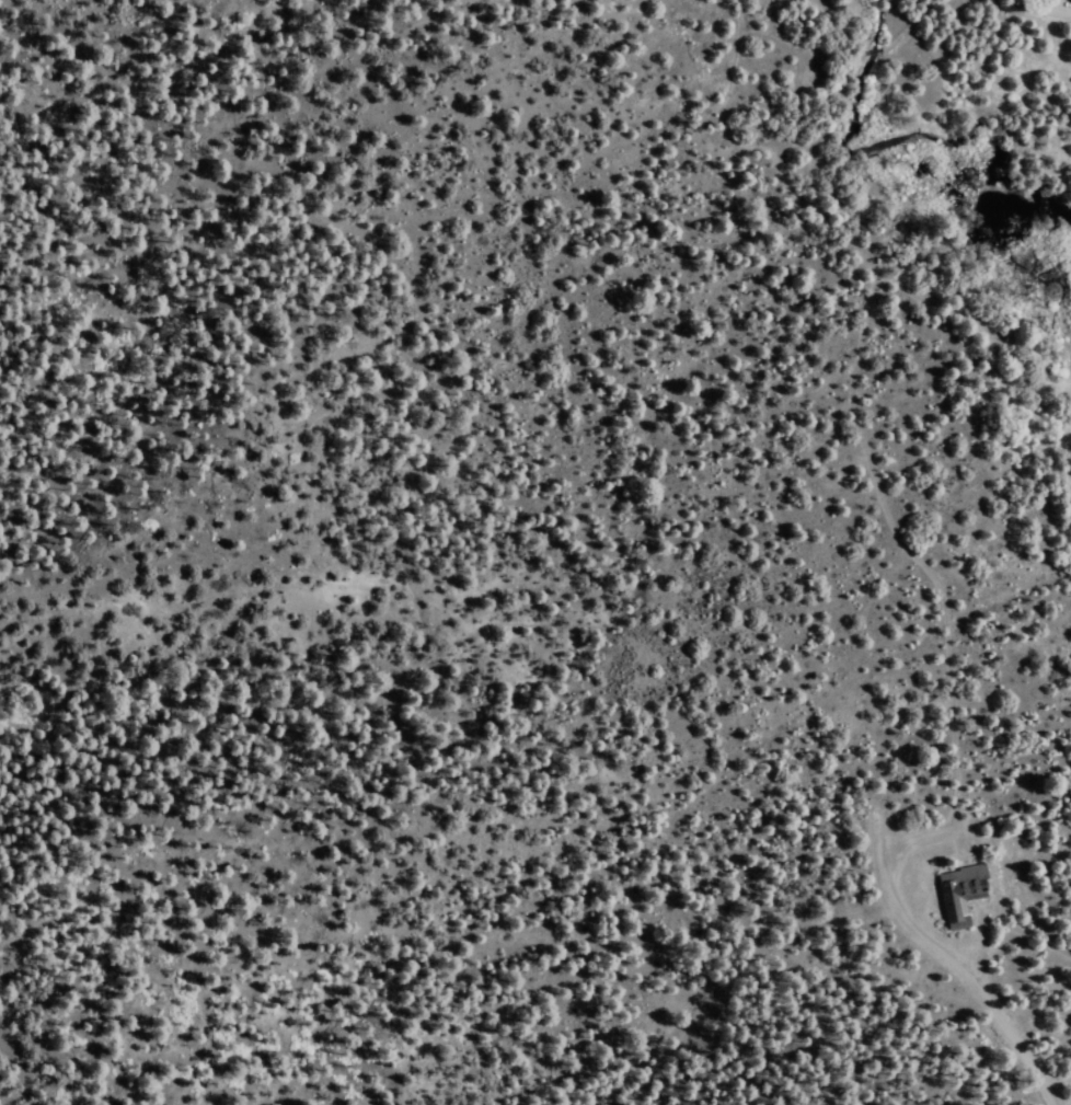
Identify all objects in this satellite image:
road: (1043, 13)
road: (912, 28)
road: (871, 56)
road: (855, 59)
road: (993, 355)
road: (865, 446)
building: (957, 893)
road: (938, 952)

